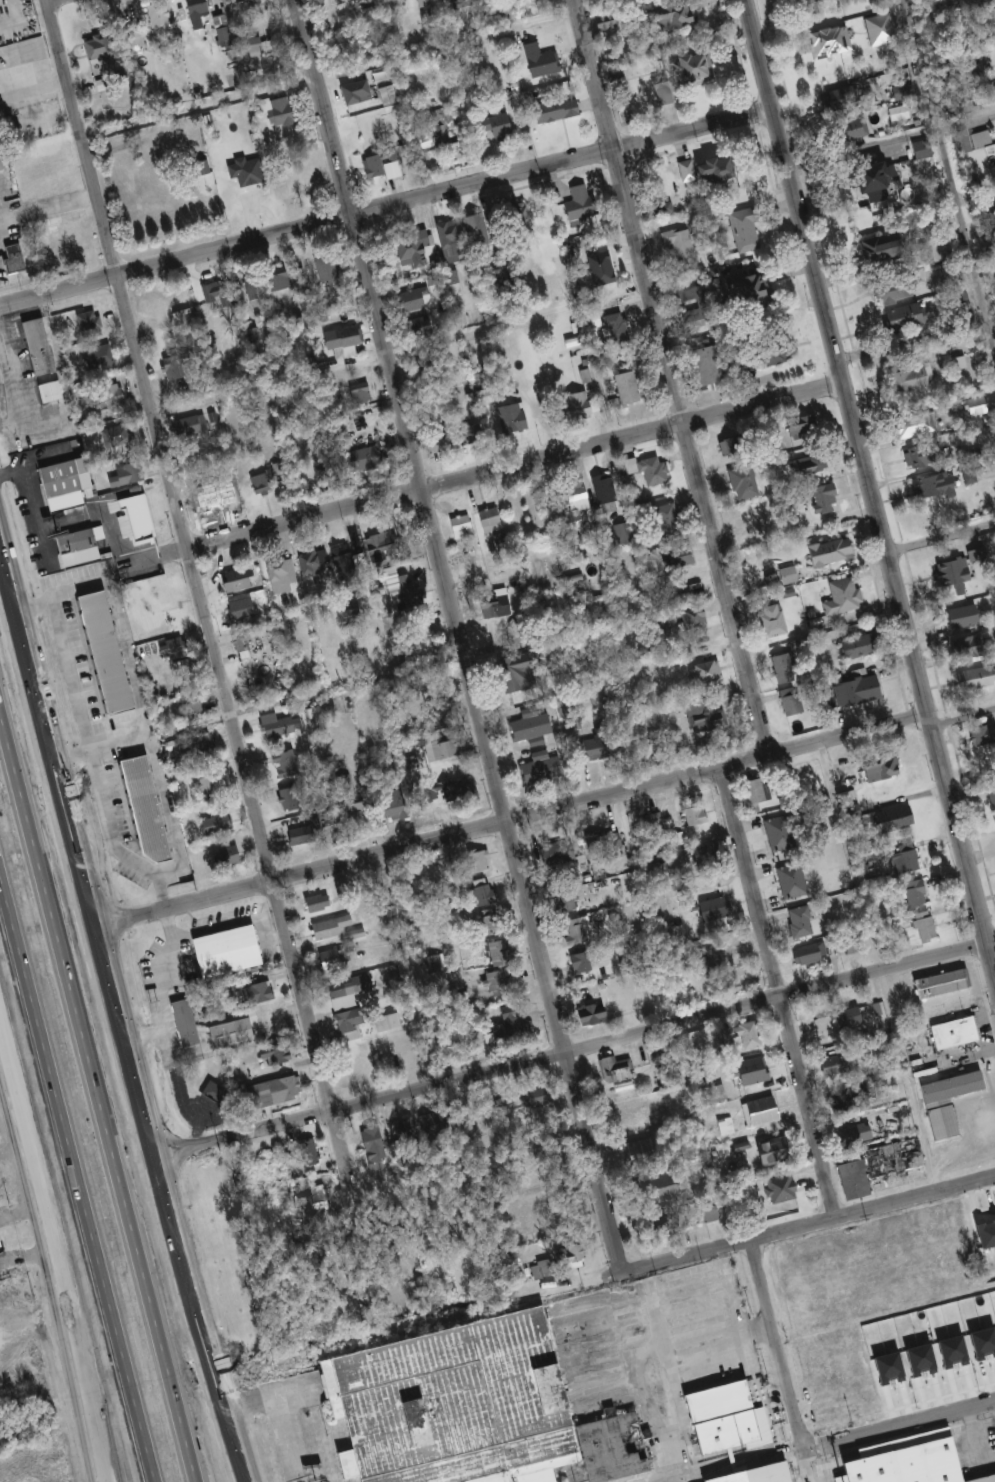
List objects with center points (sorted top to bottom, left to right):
road: (58, 1)
building: (252, 3)
building: (427, 3)
building: (462, 4)
building: (199, 8)
building: (987, 11)
building: (681, 15)
building: (162, 16)
building: (607, 20)
building: (877, 29)
building: (226, 40)
building: (833, 42)
building: (255, 46)
building: (103, 47)
building: (542, 61)
building: (702, 69)
road: (333, 76)
road: (36, 88)
building: (623, 89)
building: (902, 91)
building: (359, 93)
building: (389, 96)
building: (835, 99)
building: (560, 110)
building: (285, 112)
building: (501, 126)
building: (846, 129)
building: (440, 132)
road: (889, 134)
building: (977, 138)
building: (1, 165)
building: (384, 166)
building: (709, 169)
road: (951, 171)
building: (863, 177)
building: (582, 202)
road: (386, 209)
building: (666, 209)
building: (525, 216)
building: (477, 227)
building: (746, 230)
building: (63, 232)
building: (450, 234)
building: (681, 242)
building: (881, 248)
building: (415, 249)
building: (12, 259)
building: (325, 268)
building: (452, 277)
building: (280, 278)
building: (498, 279)
building: (253, 286)
building: (755, 287)
building: (890, 291)
building: (219, 293)
building: (415, 299)
building: (705, 306)
building: (900, 318)
building: (88, 322)
building: (617, 325)
building: (423, 327)
building: (347, 341)
road: (916, 343)
building: (37, 347)
building: (776, 352)
building: (98, 356)
building: (957, 363)
building: (712, 364)
building: (174, 367)
building: (907, 376)
road: (671, 378)
building: (630, 387)
building: (47, 392)
building: (361, 393)
building: (108, 395)
building: (583, 405)
building: (514, 416)
building: (909, 424)
building: (193, 426)
building: (805, 427)
building: (116, 434)
building: (472, 434)
building: (450, 441)
building: (738, 444)
building: (922, 454)
building: (370, 458)
building: (813, 464)
building: (651, 469)
building: (324, 471)
road: (484, 472)
building: (126, 473)
building: (266, 479)
building: (745, 482)
building: (63, 484)
building: (928, 486)
road: (869, 489)
building: (607, 492)
building: (205, 498)
building: (578, 499)
building: (826, 499)
building: (133, 518)
building: (491, 519)
building: (668, 521)
building: (463, 526)
building: (501, 541)
road: (940, 542)
building: (78, 546)
building: (384, 547)
building: (834, 551)
building: (680, 557)
building: (345, 561)
building: (315, 564)
building: (950, 573)
building: (283, 574)
building: (242, 579)
building: (411, 592)
building: (845, 596)
building: (492, 608)
building: (353, 613)
building: (697, 617)
building: (957, 617)
building: (775, 622)
road: (458, 636)
building: (245, 642)
building: (424, 642)
building: (860, 647)
building: (964, 647)
building: (176, 650)
building: (103, 655)
road: (223, 664)
building: (184, 667)
building: (786, 669)
road: (70, 673)
building: (708, 673)
building: (519, 674)
building: (973, 678)
road: (349, 684)
building: (860, 690)
building: (791, 696)
building: (196, 703)
building: (707, 717)
building: (273, 725)
building: (533, 725)
road: (963, 727)
building: (981, 733)
building: (444, 747)
building: (598, 748)
building: (409, 762)
building: (288, 764)
building: (885, 766)
building: (543, 769)
building: (213, 778)
building: (757, 790)
building: (459, 791)
building: (433, 797)
building: (293, 799)
building: (990, 802)
building: (399, 805)
building: (143, 810)
building: (362, 813)
building: (696, 813)
building: (896, 819)
building: (653, 821)
road: (516, 823)
building: (218, 825)
building: (781, 834)
building: (303, 836)
road: (112, 839)
building: (602, 847)
building: (707, 852)
building: (559, 854)
building: (232, 856)
building: (906, 859)
building: (480, 861)
building: (793, 881)
building: (917, 893)
building: (486, 895)
building: (568, 901)
building: (320, 903)
building: (717, 909)
building: (802, 922)
building: (492, 923)
building: (927, 926)
building: (333, 928)
building: (576, 932)
building: (224, 953)
building: (501, 953)
building: (811, 953)
building: (335, 960)
building: (736, 962)
building: (584, 963)
building: (496, 983)
building: (944, 984)
building: (343, 990)
building: (256, 993)
road: (777, 994)
road: (122, 1001)
building: (600, 1014)
building: (847, 1019)
building: (391, 1022)
building: (184, 1023)
building: (351, 1025)
road: (90, 1030)
building: (514, 1030)
building: (231, 1033)
building: (958, 1033)
building: (746, 1035)
road: (578, 1050)
building: (275, 1053)
building: (645, 1057)
building: (836, 1066)
building: (617, 1069)
building: (757, 1071)
road: (41, 1077)
building: (274, 1092)
building: (214, 1093)
building: (537, 1096)
building: (843, 1100)
building: (497, 1102)
building: (951, 1102)
building: (642, 1114)
building: (755, 1116)
building: (435, 1125)
building: (406, 1133)
building: (848, 1135)
building: (375, 1141)
building: (645, 1148)
building: (774, 1152)
building: (897, 1158)
building: (855, 1181)
building: (783, 1189)
road: (15, 1204)
building: (711, 1211)
building: (1, 1243)
road: (20, 1251)
building: (578, 1252)
road: (694, 1254)
road: (49, 1279)
road: (685, 1288)
road: (116, 1339)
road: (696, 1340)
road: (775, 1345)
road: (724, 1373)
building: (470, 1409)
road: (759, 1412)
building: (720, 1417)
road: (969, 1423)
road: (898, 1425)
road: (671, 1427)
building: (915, 1464)
road: (737, 1465)
road: (806, 1466)
building: (762, 1477)

